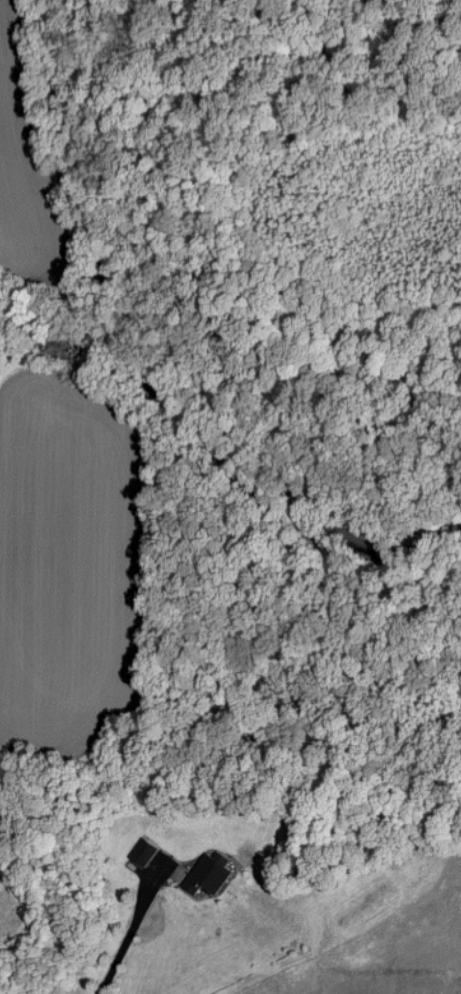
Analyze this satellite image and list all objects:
building: (146, 852)
building: (210, 875)
road: (133, 935)

